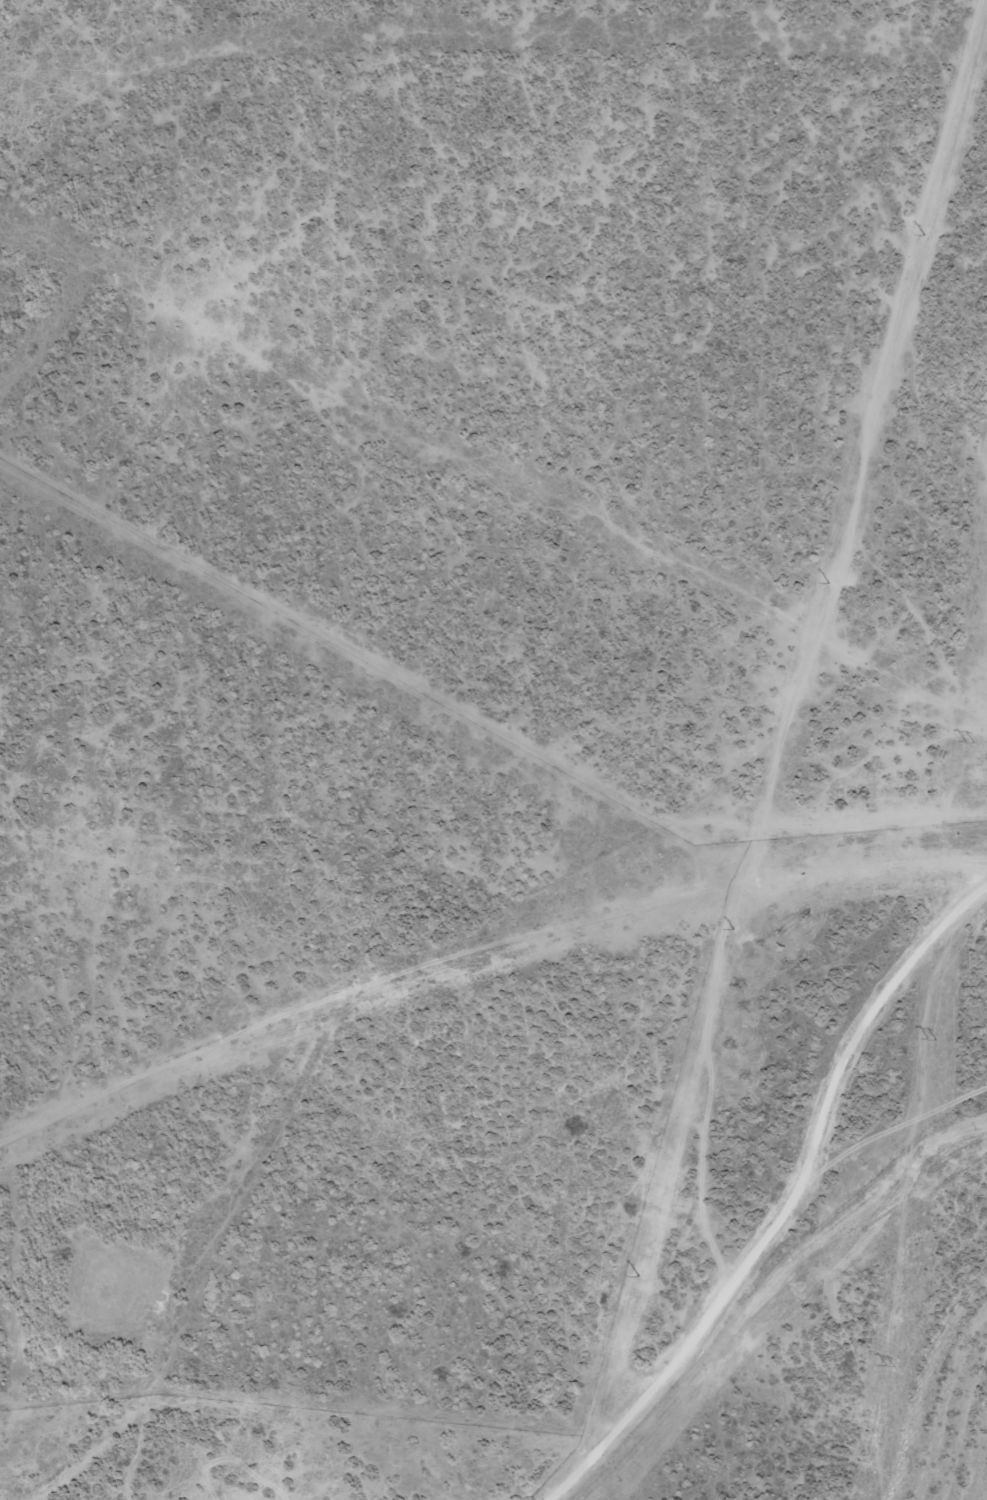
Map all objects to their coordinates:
power tower: (926, 234)
power tower: (828, 582)
power tower: (968, 741)
power tower: (731, 928)
power tower: (933, 1039)
power tower: (635, 1275)
road: (771, 1282)
power tower: (894, 1364)

